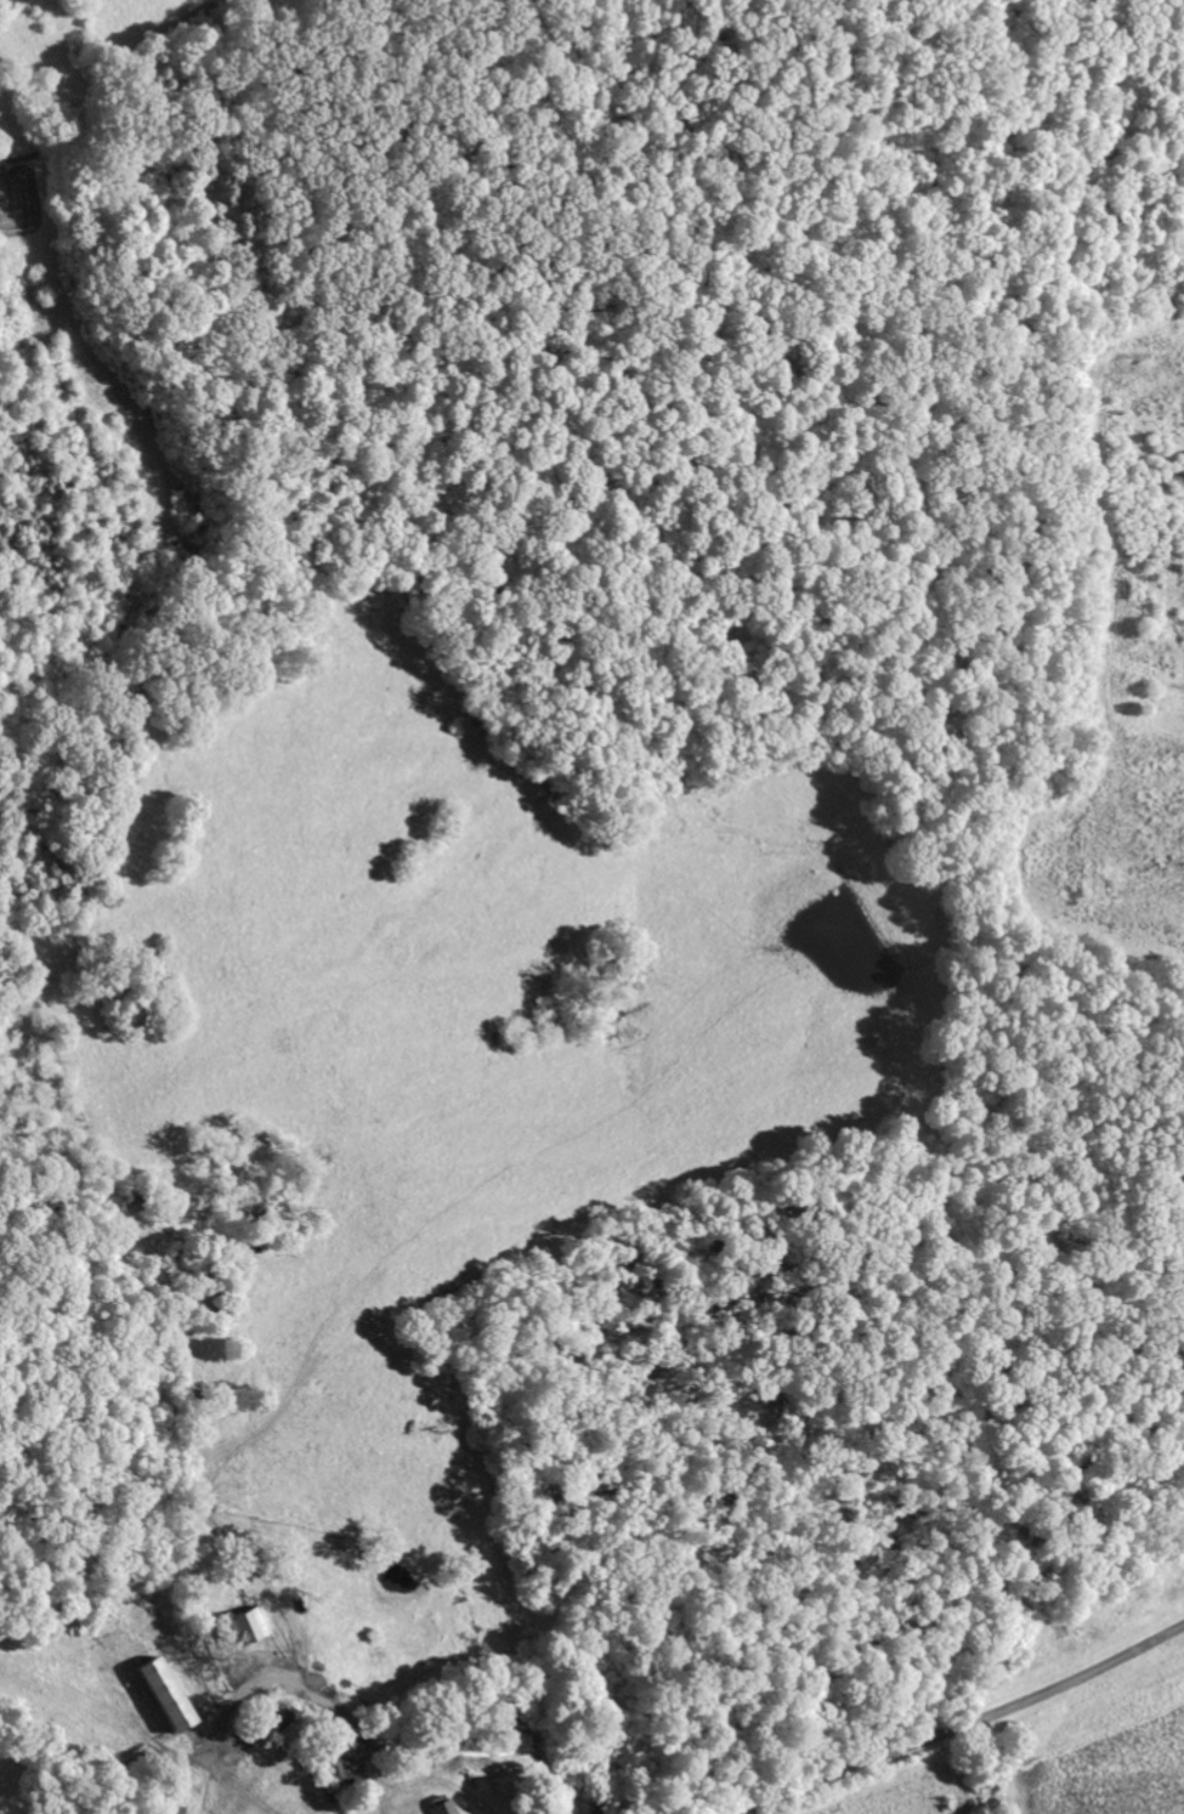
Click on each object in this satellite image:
building: (257, 1628)
road: (953, 1729)
building: (442, 1807)

